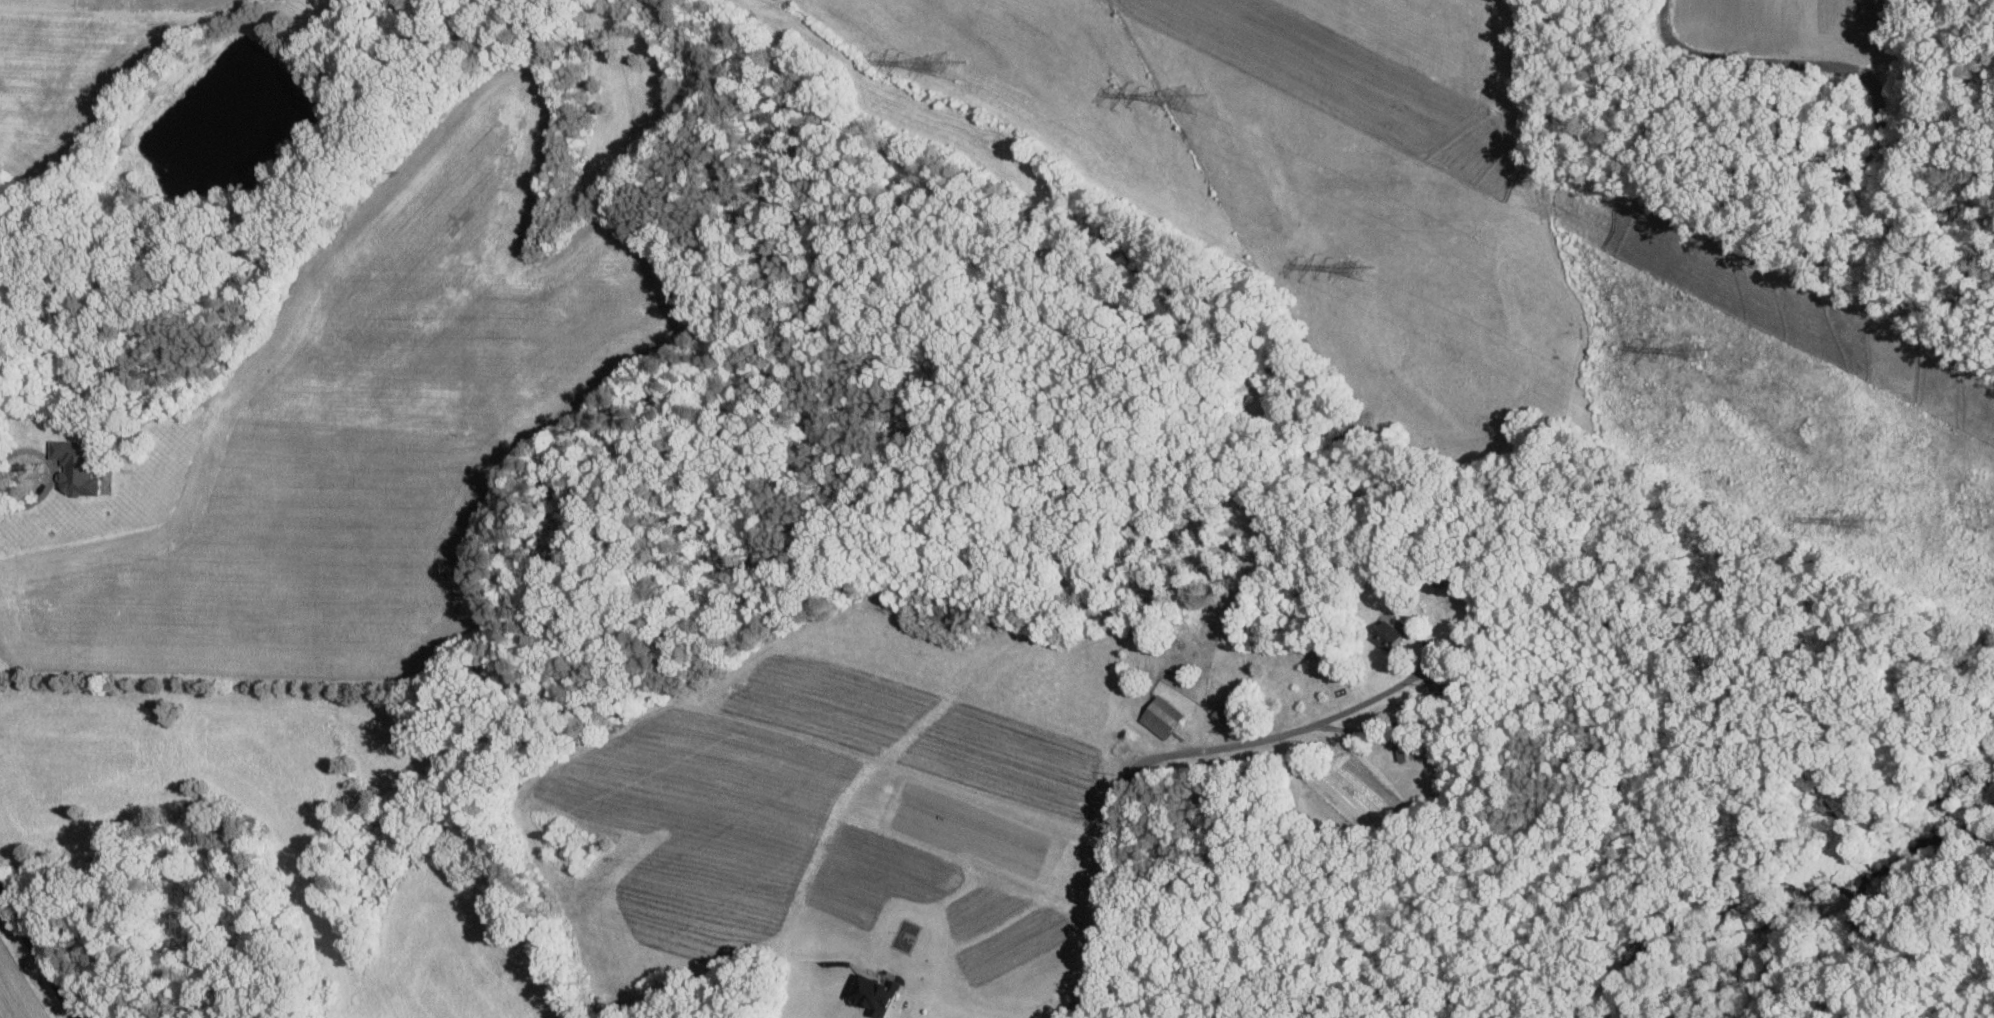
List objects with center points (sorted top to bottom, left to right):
power tower: (958, 68)
power tower: (1195, 101)
power tower: (1359, 270)
power tower: (1700, 353)
building: (81, 466)
road: (51, 475)
power tower: (1869, 524)
building: (1382, 633)
building: (1216, 714)
building: (1158, 716)
road: (1146, 760)
road: (38, 954)
building: (868, 993)
road: (902, 1014)

